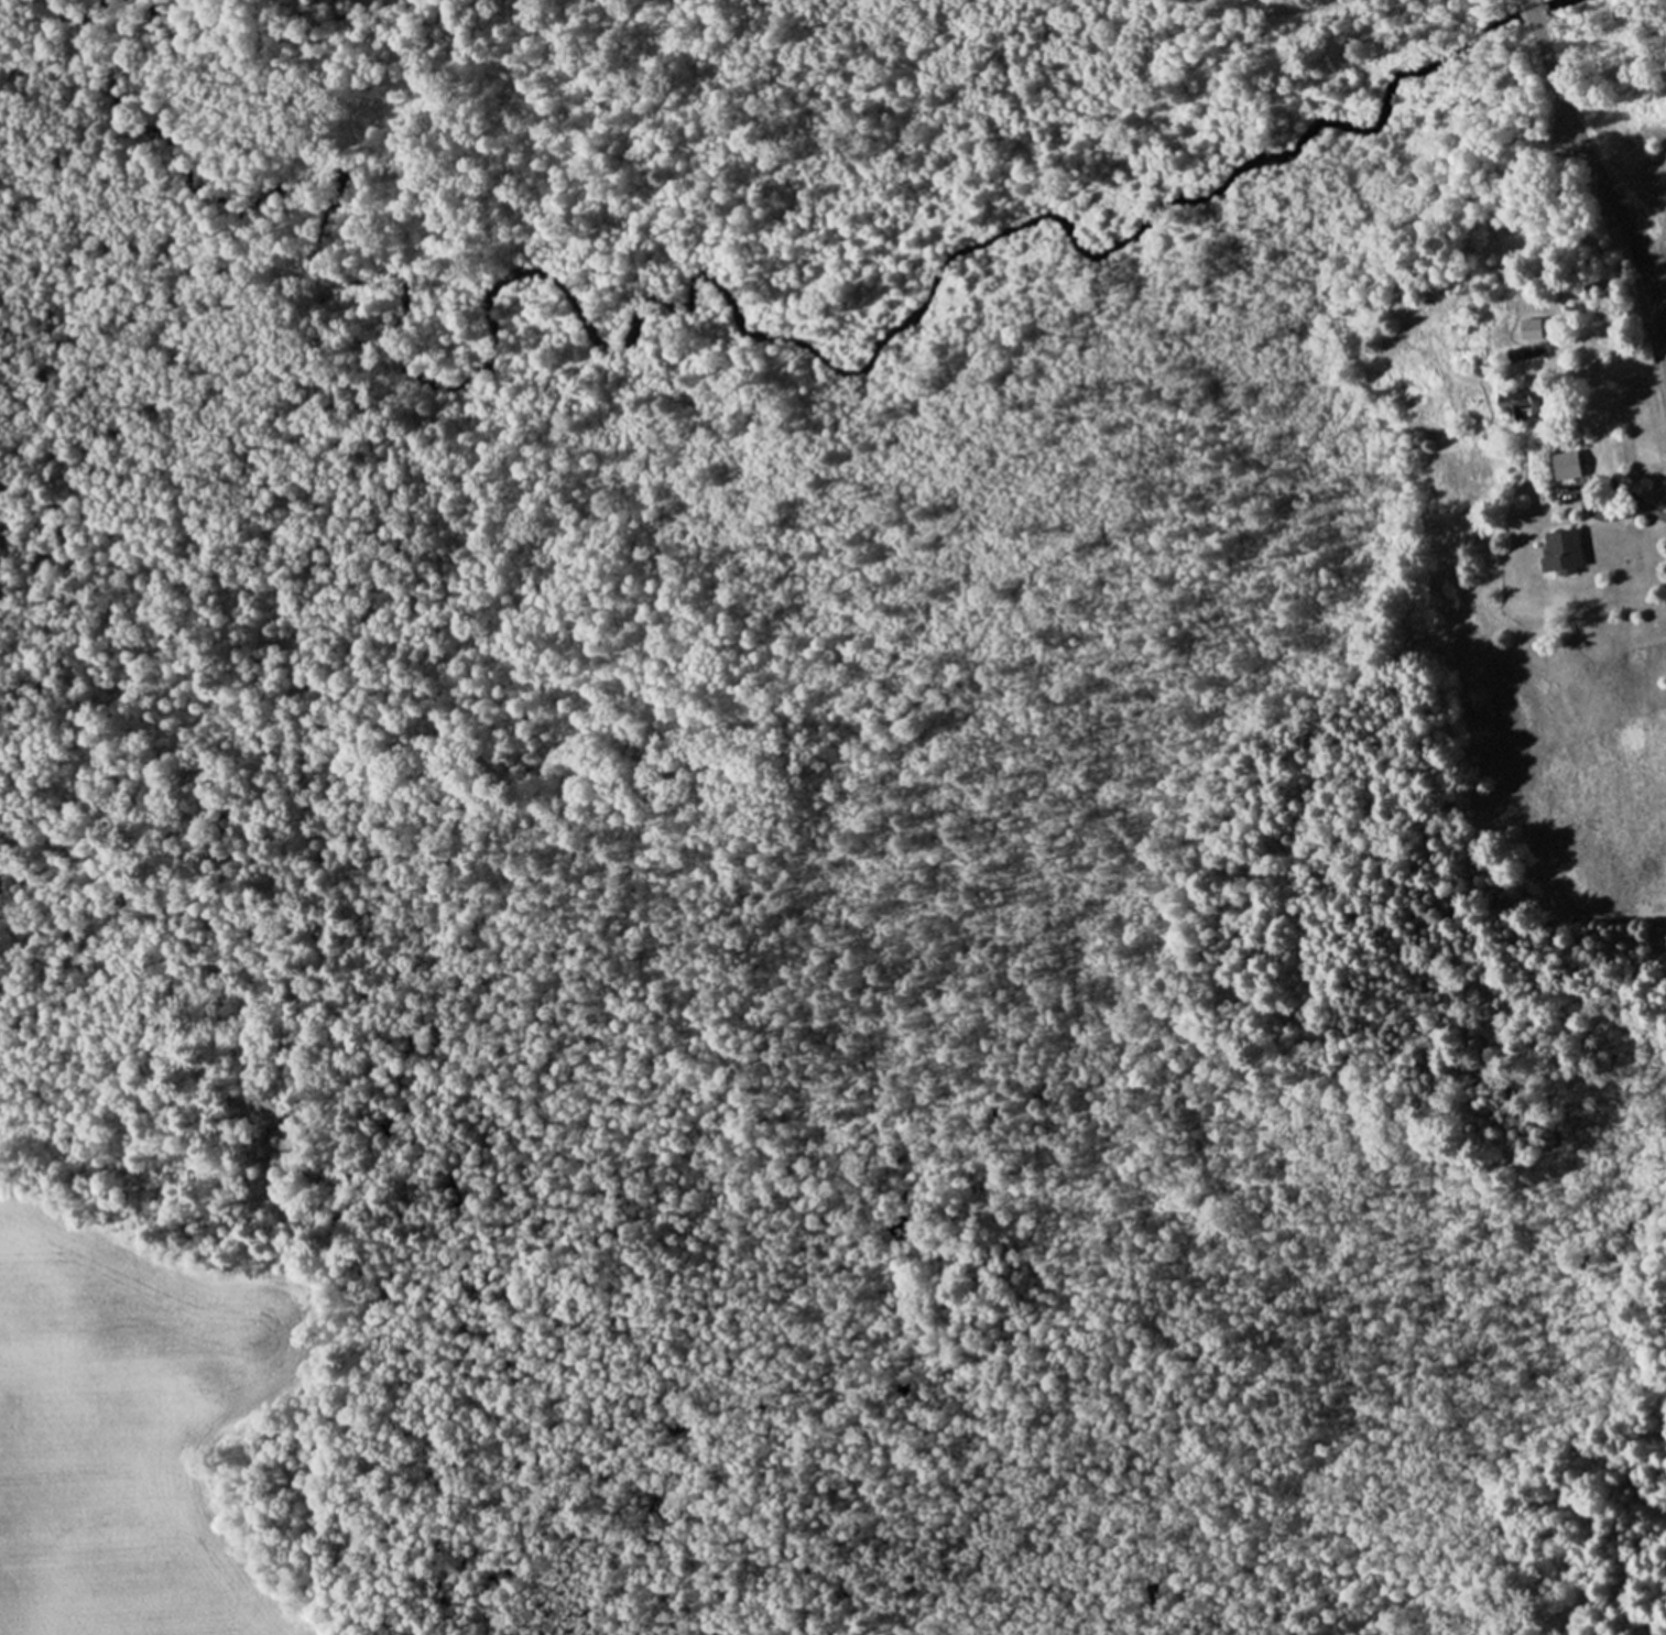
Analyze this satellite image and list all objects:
road: (1534, 20)
road: (1609, 190)
building: (1528, 328)
building: (1510, 399)
building: (1562, 464)
road: (1641, 505)
building: (1558, 549)

